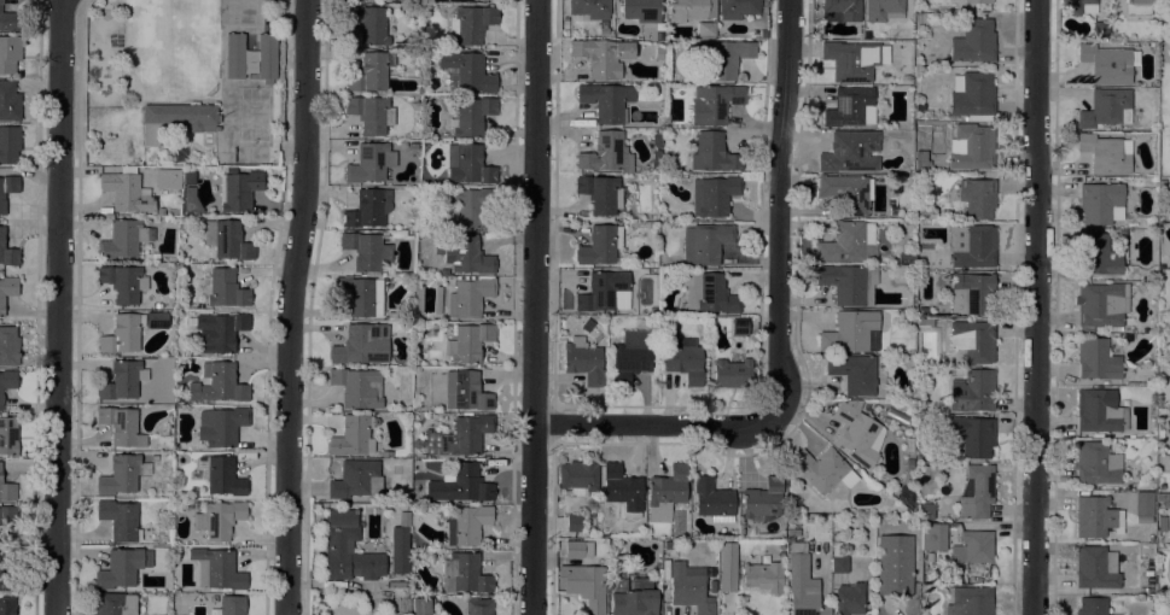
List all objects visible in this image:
building: (270, 0)
building: (493, 1)
building: (977, 1)
building: (1139, 1)
building: (1078, 6)
building: (590, 8)
building: (737, 8)
building: (689, 10)
building: (880, 10)
building: (840, 11)
building: (240, 12)
building: (642, 12)
building: (7, 20)
building: (471, 23)
building: (369, 24)
building: (564, 29)
building: (705, 30)
building: (1100, 30)
building: (973, 42)
building: (267, 47)
building: (658, 53)
building: (8, 54)
building: (601, 57)
building: (724, 58)
building: (851, 60)
building: (1107, 64)
building: (468, 71)
building: (371, 72)
park: (1164, 87)
building: (972, 96)
building: (8, 101)
building: (607, 101)
building: (714, 104)
building: (848, 106)
building: (1106, 109)
building: (371, 115)
building: (472, 116)
building: (665, 118)
building: (176, 119)
building: (656, 141)
building: (10, 143)
building: (972, 147)
building: (849, 152)
building: (606, 153)
building: (712, 153)
building: (1105, 154)
building: (654, 157)
building: (920, 160)
building: (369, 163)
building: (470, 164)
building: (231, 170)
building: (190, 178)
building: (168, 180)
building: (7, 189)
building: (238, 191)
building: (127, 192)
building: (599, 193)
building: (846, 193)
building: (714, 195)
building: (977, 198)
building: (190, 201)
building: (1100, 204)
building: (466, 207)
building: (368, 209)
building: (892, 210)
building: (924, 210)
building: (161, 212)
road: (780, 212)
building: (123, 239)
building: (227, 240)
building: (845, 242)
building: (705, 244)
building: (600, 246)
building: (972, 246)
building: (366, 251)
building: (7, 252)
building: (1096, 254)
building: (470, 256)
building: (123, 283)
building: (849, 283)
building: (7, 289)
building: (223, 289)
building: (605, 292)
building: (709, 293)
building: (972, 294)
building: (359, 297)
building: (468, 297)
building: (418, 299)
building: (437, 301)
road: (290, 306)
building: (1101, 306)
road: (60, 307)
road: (536, 307)
road: (1035, 307)
building: (157, 320)
building: (924, 323)
building: (739, 327)
building: (219, 332)
building: (850, 332)
building: (122, 334)
building: (973, 341)
building: (468, 342)
building: (362, 345)
building: (8, 346)
building: (630, 357)
building: (682, 359)
building: (1096, 359)
building: (582, 361)
building: (415, 362)
building: (854, 373)
building: (732, 375)
building: (122, 380)
building: (7, 381)
building: (217, 385)
building: (357, 387)
building: (465, 391)
building: (972, 392)
building: (1098, 412)
road: (658, 424)
building: (121, 426)
building: (220, 427)
building: (857, 433)
building: (8, 435)
building: (354, 435)
building: (458, 437)
building: (972, 437)
building: (153, 447)
building: (386, 455)
building: (153, 458)
building: (909, 464)
building: (1096, 464)
building: (820, 469)
building: (118, 475)
building: (221, 475)
building: (577, 478)
building: (355, 480)
building: (460, 485)
building: (7, 491)
building: (622, 491)
building: (665, 491)
building: (976, 492)
building: (901, 499)
building: (712, 500)
building: (1162, 500)
building: (762, 502)
building: (1143, 504)
building: (925, 511)
building: (7, 516)
building: (1096, 517)
building: (403, 519)
building: (120, 520)
building: (219, 520)
building: (574, 523)
building: (466, 525)
building: (1160, 525)
building: (793, 533)
building: (932, 538)
building: (973, 547)
building: (348, 549)
building: (398, 550)
building: (578, 550)
building: (893, 566)
building: (727, 567)
building: (121, 568)
building: (1095, 568)
building: (216, 569)
building: (464, 574)
building: (763, 576)
building: (0, 578)
building: (802, 584)
building: (844, 584)
building: (619, 585)
building: (584, 586)
building: (688, 588)
building: (970, 601)
building: (634, 603)
building: (113, 604)
building: (7, 605)
building: (420, 605)
building: (229, 607)
building: (475, 607)
building: (1092, 607)

